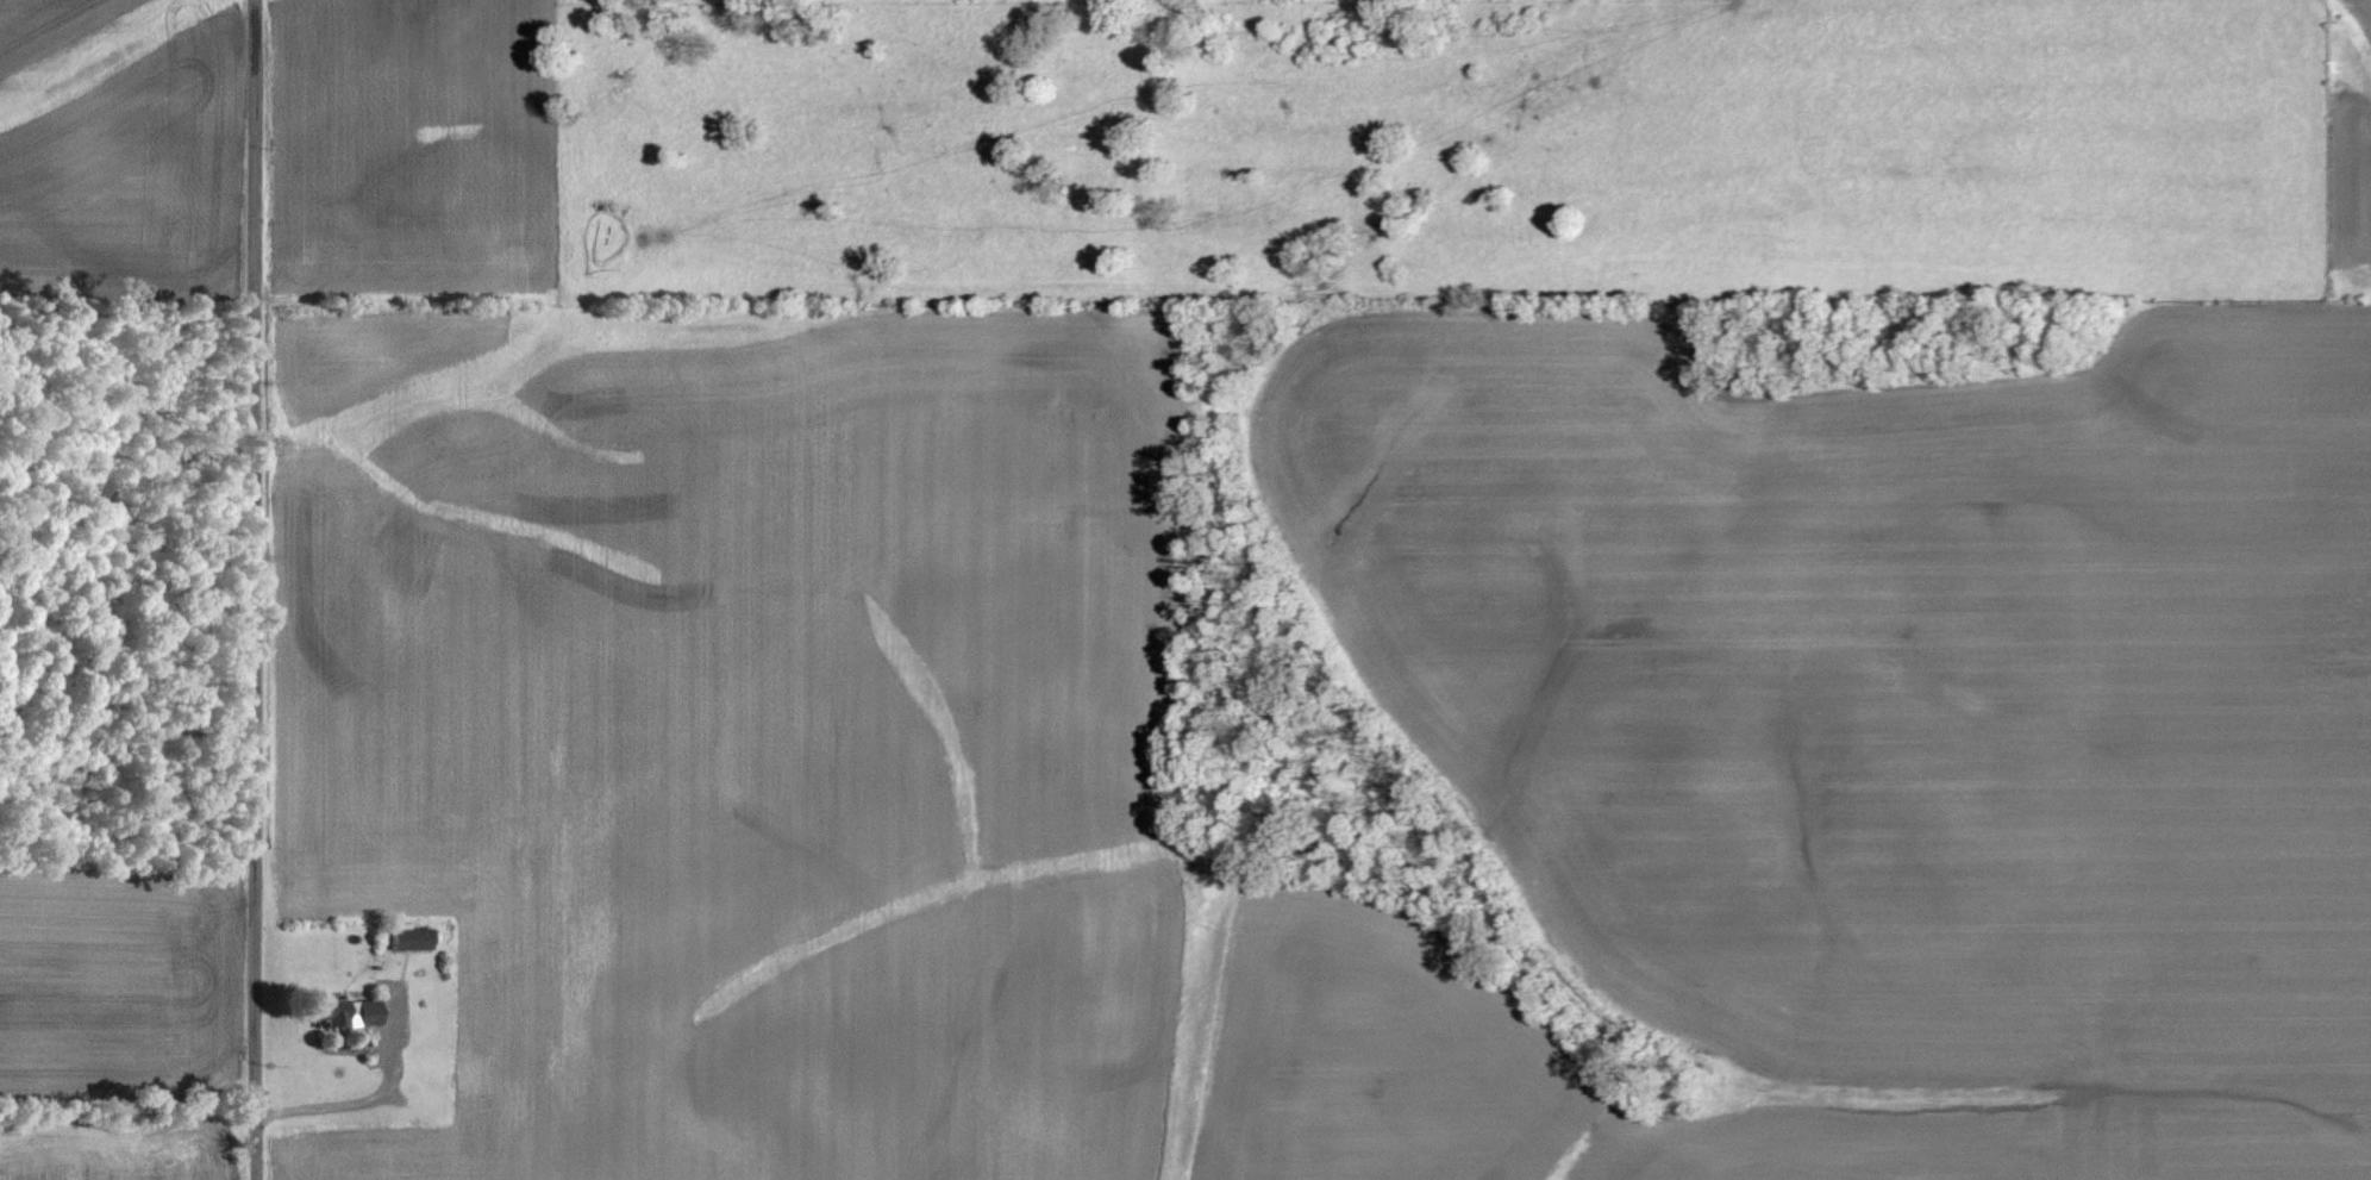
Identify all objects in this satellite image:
road: (250, 589)
road: (357, 1099)

